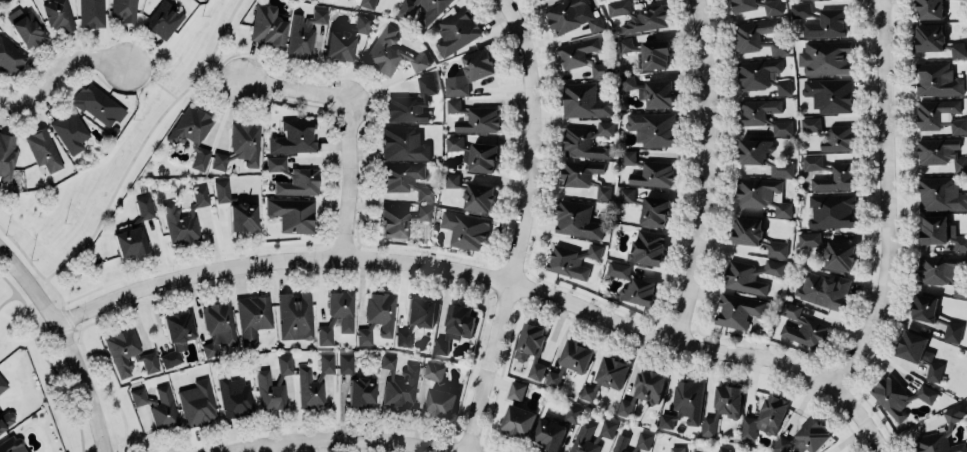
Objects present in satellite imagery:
building: (369, 3)
building: (743, 5)
building: (773, 6)
building: (800, 8)
building: (929, 9)
building: (124, 10)
building: (91, 13)
building: (59, 14)
building: (429, 14)
building: (572, 15)
building: (639, 15)
building: (163, 19)
building: (361, 23)
building: (826, 23)
building: (267, 25)
building: (27, 27)
building: (456, 30)
building: (304, 32)
building: (752, 33)
building: (929, 36)
building: (339, 44)
building: (625, 44)
building: (777, 45)
building: (957, 48)
building: (390, 51)
building: (655, 53)
building: (10, 55)
building: (582, 55)
building: (825, 57)
road: (64, 63)
road: (154, 63)
building: (472, 70)
road: (224, 72)
building: (761, 75)
building: (937, 79)
building: (628, 81)
building: (657, 93)
building: (830, 94)
building: (584, 100)
building: (411, 102)
road: (8, 104)
building: (98, 105)
building: (935, 112)
building: (764, 114)
building: (475, 116)
road: (348, 125)
building: (959, 125)
building: (653, 128)
building: (70, 131)
building: (192, 133)
building: (829, 133)
building: (293, 136)
building: (588, 140)
building: (403, 142)
building: (241, 145)
building: (43, 149)
building: (941, 152)
building: (475, 153)
building: (6, 155)
building: (763, 155)
road: (135, 156)
building: (649, 170)
road: (705, 172)
building: (843, 173)
building: (585, 176)
building: (293, 178)
building: (406, 179)
building: (222, 189)
building: (473, 192)
building: (762, 194)
building: (941, 194)
building: (200, 195)
road: (888, 200)
building: (648, 207)
building: (833, 211)
building: (423, 212)
building: (292, 214)
building: (242, 216)
building: (577, 219)
building: (393, 222)
building: (179, 225)
road: (520, 226)
building: (466, 228)
building: (134, 231)
building: (941, 231)
building: (756, 235)
road: (902, 237)
building: (809, 238)
building: (647, 246)
road: (23, 251)
building: (839, 255)
building: (572, 259)
building: (618, 268)
building: (942, 271)
road: (476, 273)
building: (749, 275)
road: (10, 283)
building: (824, 289)
building: (639, 290)
road: (619, 308)
building: (738, 309)
building: (381, 311)
road: (28, 314)
building: (337, 315)
building: (253, 316)
building: (295, 316)
building: (935, 316)
building: (416, 318)
building: (218, 326)
building: (456, 326)
building: (802, 326)
road: (71, 327)
building: (364, 335)
building: (176, 336)
road: (70, 338)
road: (784, 346)
building: (531, 349)
building: (127, 351)
building: (919, 352)
building: (569, 361)
building: (346, 363)
building: (285, 364)
building: (435, 371)
building: (612, 371)
building: (314, 382)
building: (399, 383)
building: (2, 384)
road: (105, 387)
building: (516, 389)
building: (361, 390)
building: (270, 391)
road: (71, 392)
building: (588, 392)
building: (642, 392)
building: (138, 395)
building: (234, 395)
building: (900, 395)
building: (197, 403)
building: (441, 403)
building: (685, 403)
building: (723, 407)
building: (164, 409)
building: (955, 412)
building: (766, 417)
building: (6, 420)
building: (519, 420)
building: (556, 428)
building: (606, 429)
building: (805, 437)
road: (873, 437)
building: (585, 438)
road: (340, 439)
building: (644, 439)
building: (620, 443)
building: (938, 443)
building: (12, 444)
building: (677, 448)
building: (724, 449)

